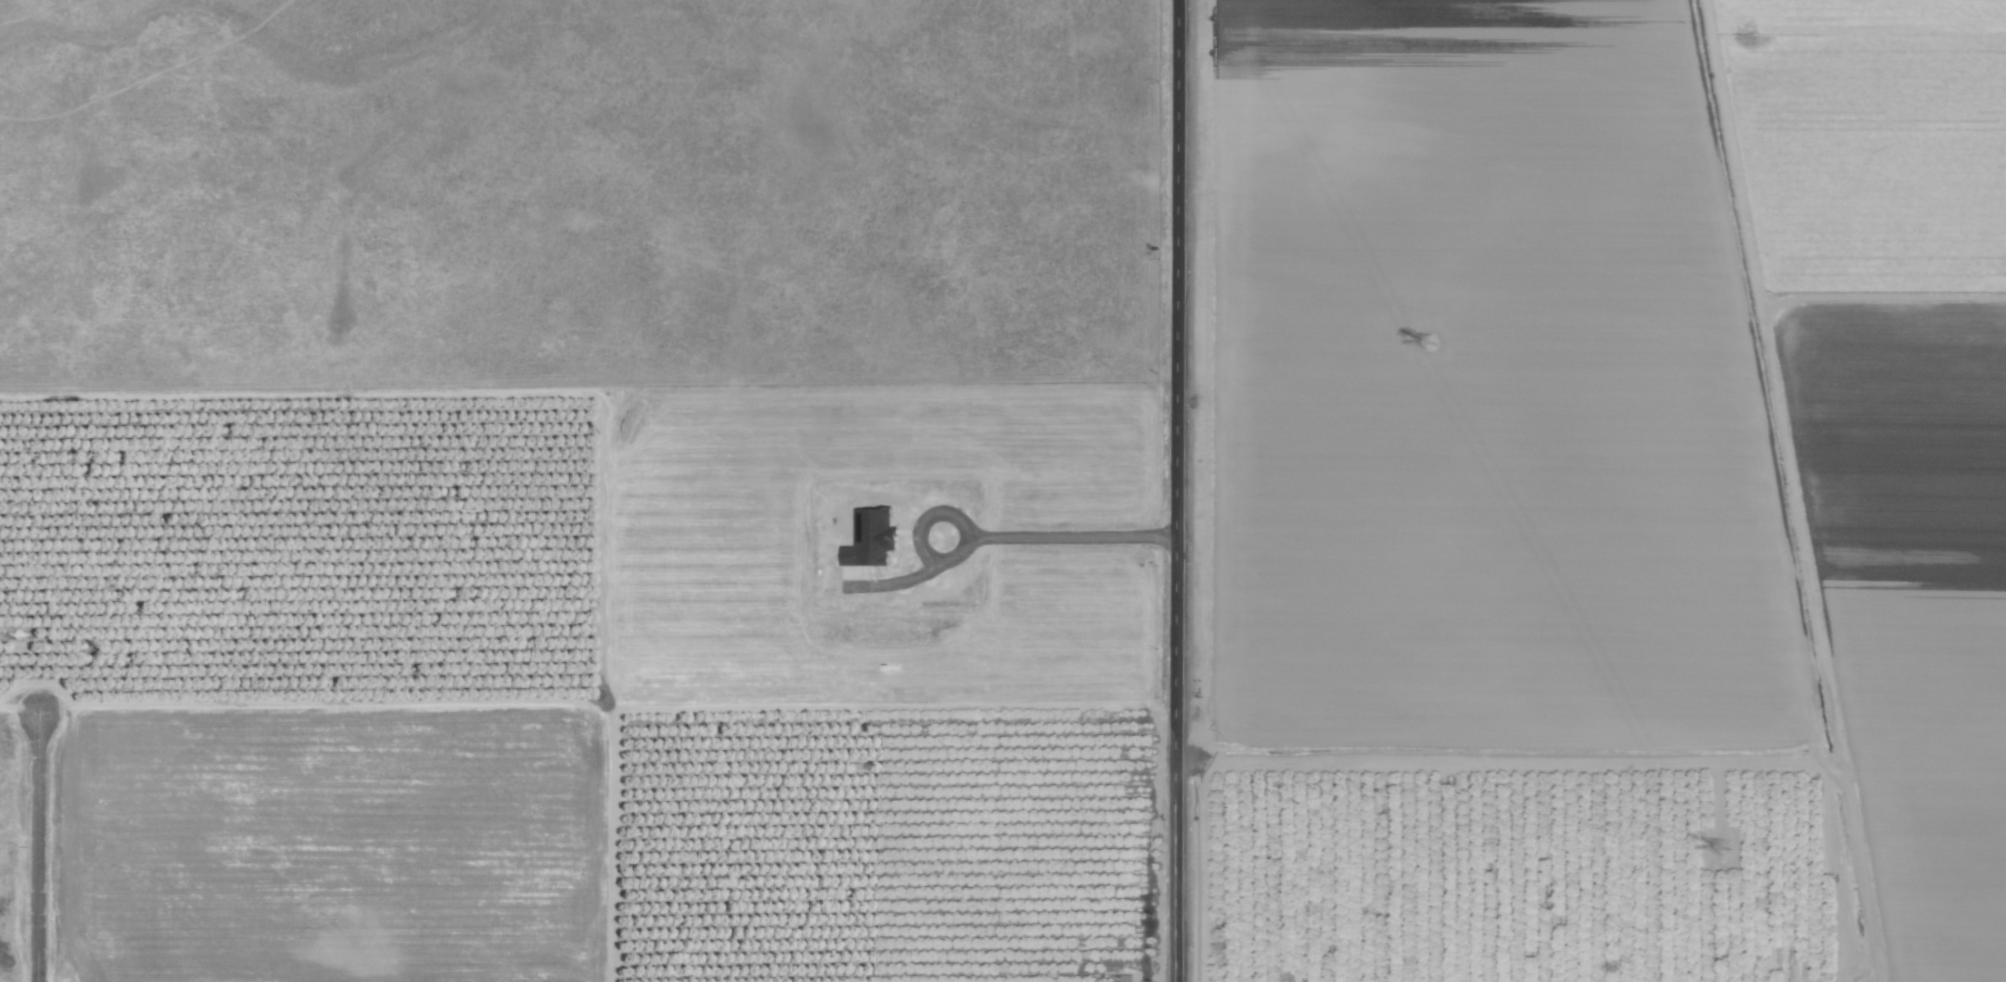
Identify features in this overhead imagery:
power tower: (1426, 342)
road: (1175, 491)
road: (990, 533)
road: (37, 847)
power tower: (1718, 847)

